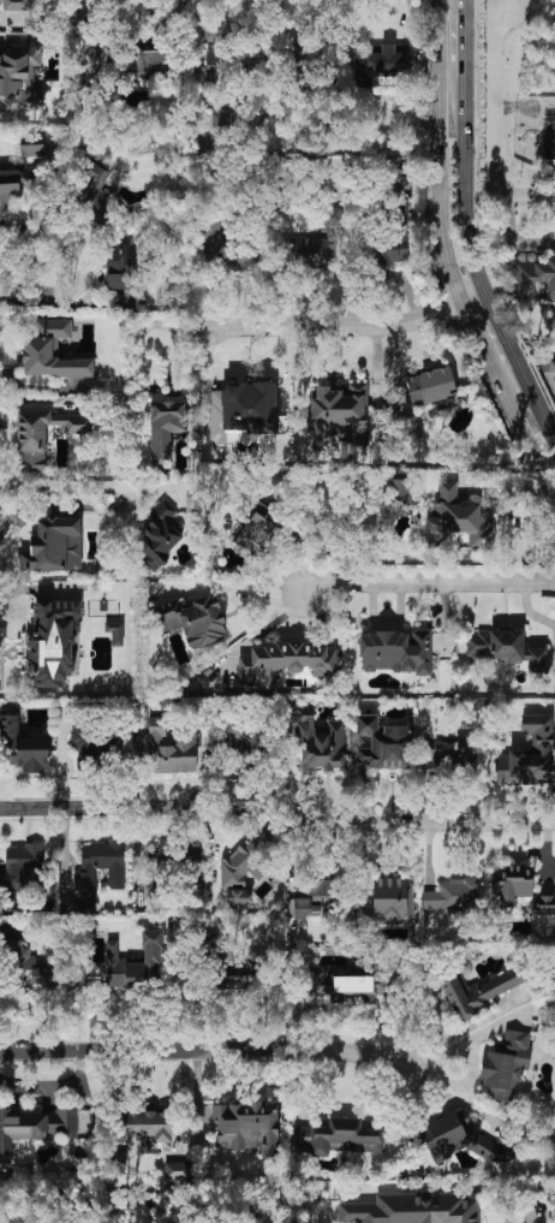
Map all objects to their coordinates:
building: (17, 5)
road: (8, 24)
road: (464, 37)
building: (302, 57)
building: (380, 63)
building: (145, 64)
building: (226, 66)
building: (18, 79)
road: (495, 105)
building: (32, 149)
building: (10, 185)
building: (90, 185)
road: (464, 185)
road: (532, 195)
road: (514, 234)
building: (390, 250)
building: (312, 253)
building: (119, 266)
road: (446, 267)
building: (536, 272)
road: (16, 273)
road: (344, 326)
road: (499, 327)
building: (52, 351)
building: (554, 363)
road: (554, 382)
building: (431, 386)
road: (536, 399)
building: (241, 410)
building: (165, 427)
building: (411, 427)
building: (42, 435)
road: (80, 486)
building: (400, 489)
building: (459, 520)
building: (256, 530)
building: (161, 534)
building: (54, 545)
road: (425, 580)
building: (196, 619)
building: (115, 633)
building: (53, 642)
building: (505, 648)
building: (396, 652)
building: (286, 661)
building: (318, 740)
building: (383, 744)
building: (23, 747)
building: (172, 747)
building: (449, 752)
building: (533, 753)
road: (92, 807)
road: (420, 821)
building: (192, 856)
building: (157, 857)
building: (22, 871)
building: (85, 880)
building: (514, 887)
building: (453, 895)
building: (318, 897)
building: (388, 903)
building: (545, 904)
building: (209, 943)
building: (136, 963)
building: (28, 968)
building: (237, 975)
building: (320, 980)
building: (357, 987)
building: (478, 989)
road: (462, 1028)
road: (203, 1051)
building: (506, 1064)
building: (34, 1126)
building: (246, 1127)
building: (148, 1128)
building: (340, 1135)
building: (464, 1138)
building: (177, 1171)
building: (413, 1210)

